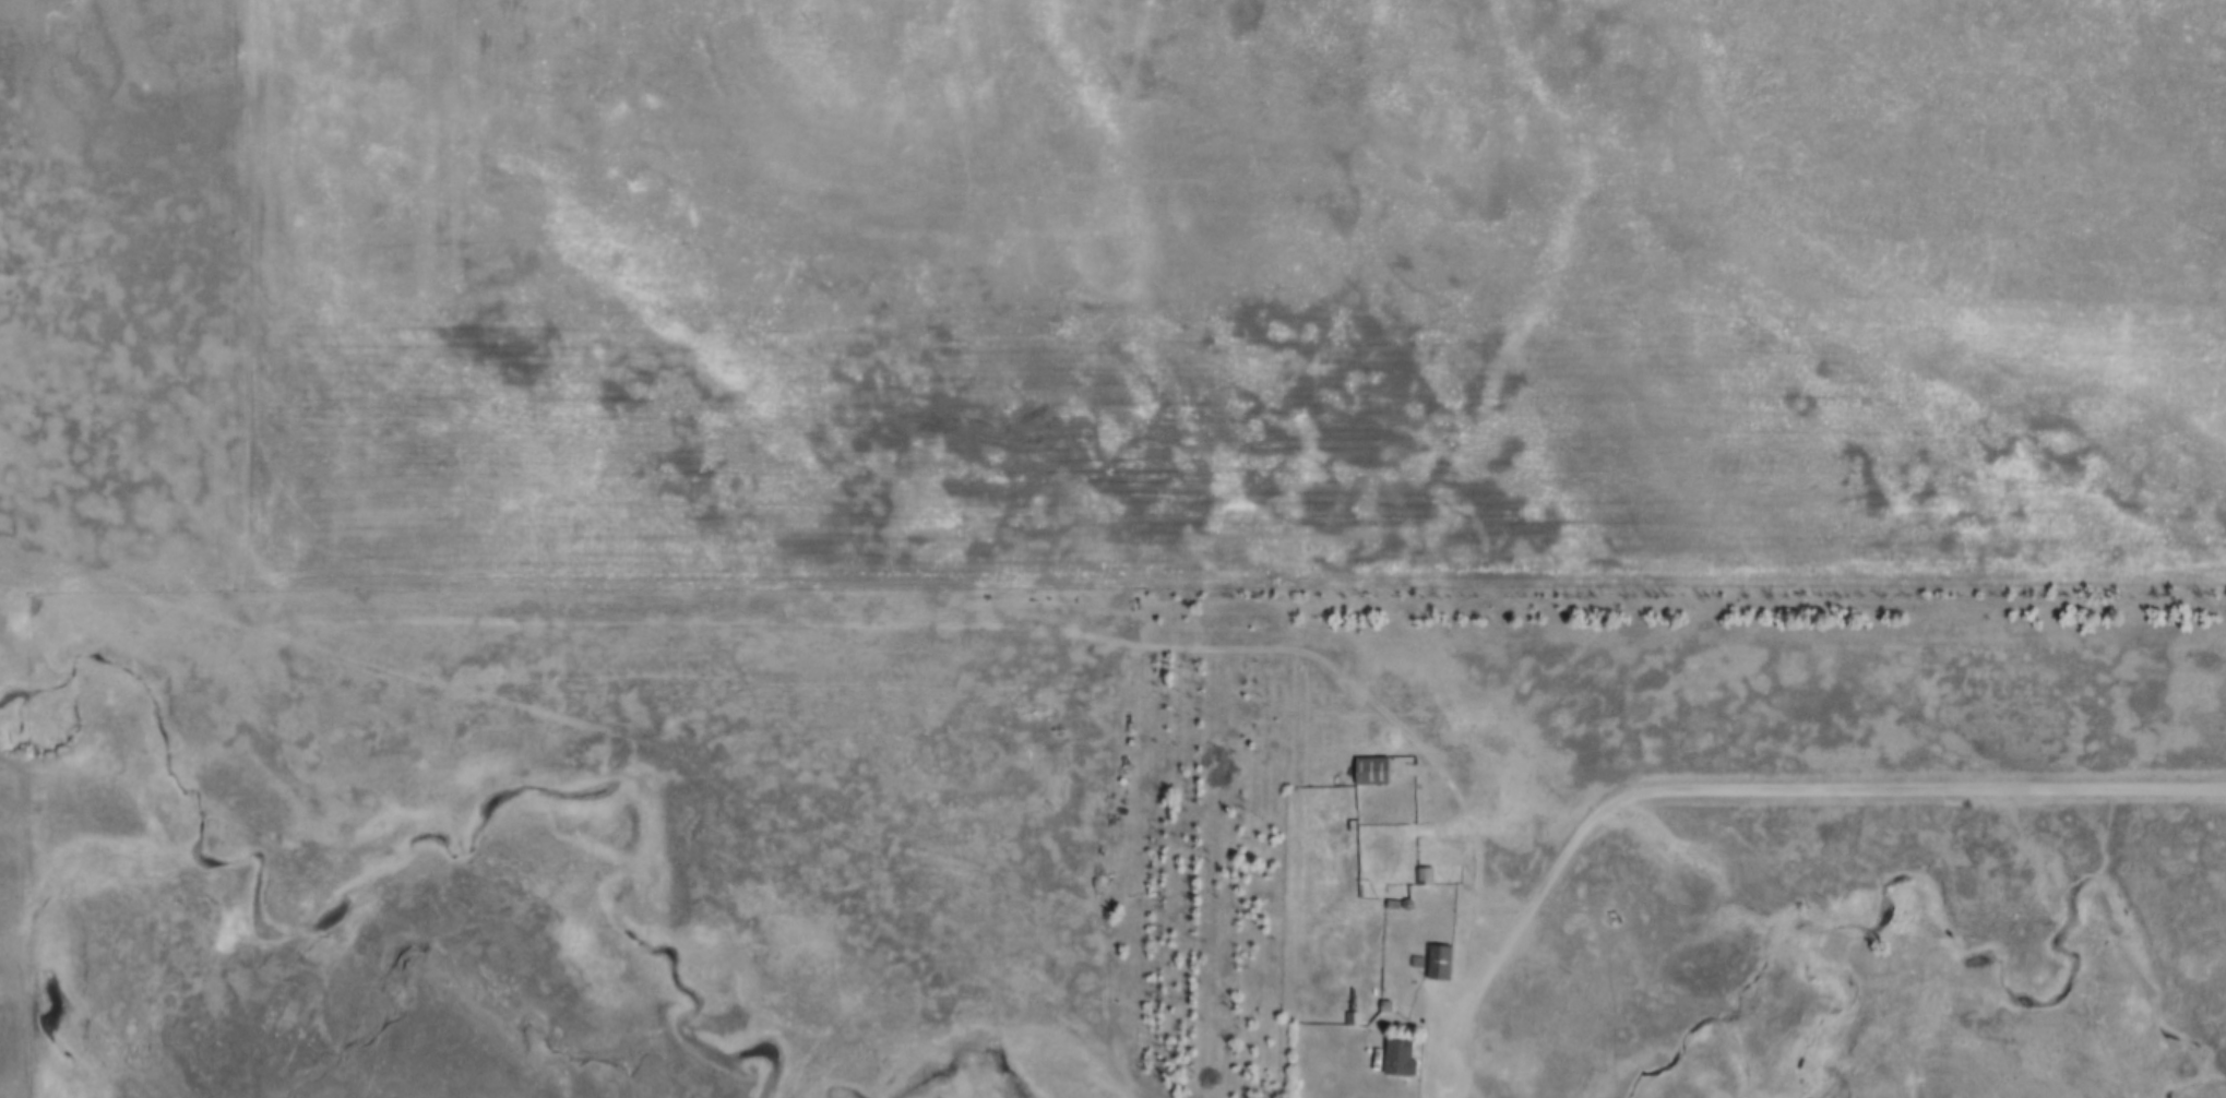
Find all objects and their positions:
road: (247, 296)
building: (1063, 763)
building: (1369, 772)
road: (1758, 792)
building: (1425, 876)
building: (1438, 963)
building: (1396, 1058)
road: (1473, 1087)

